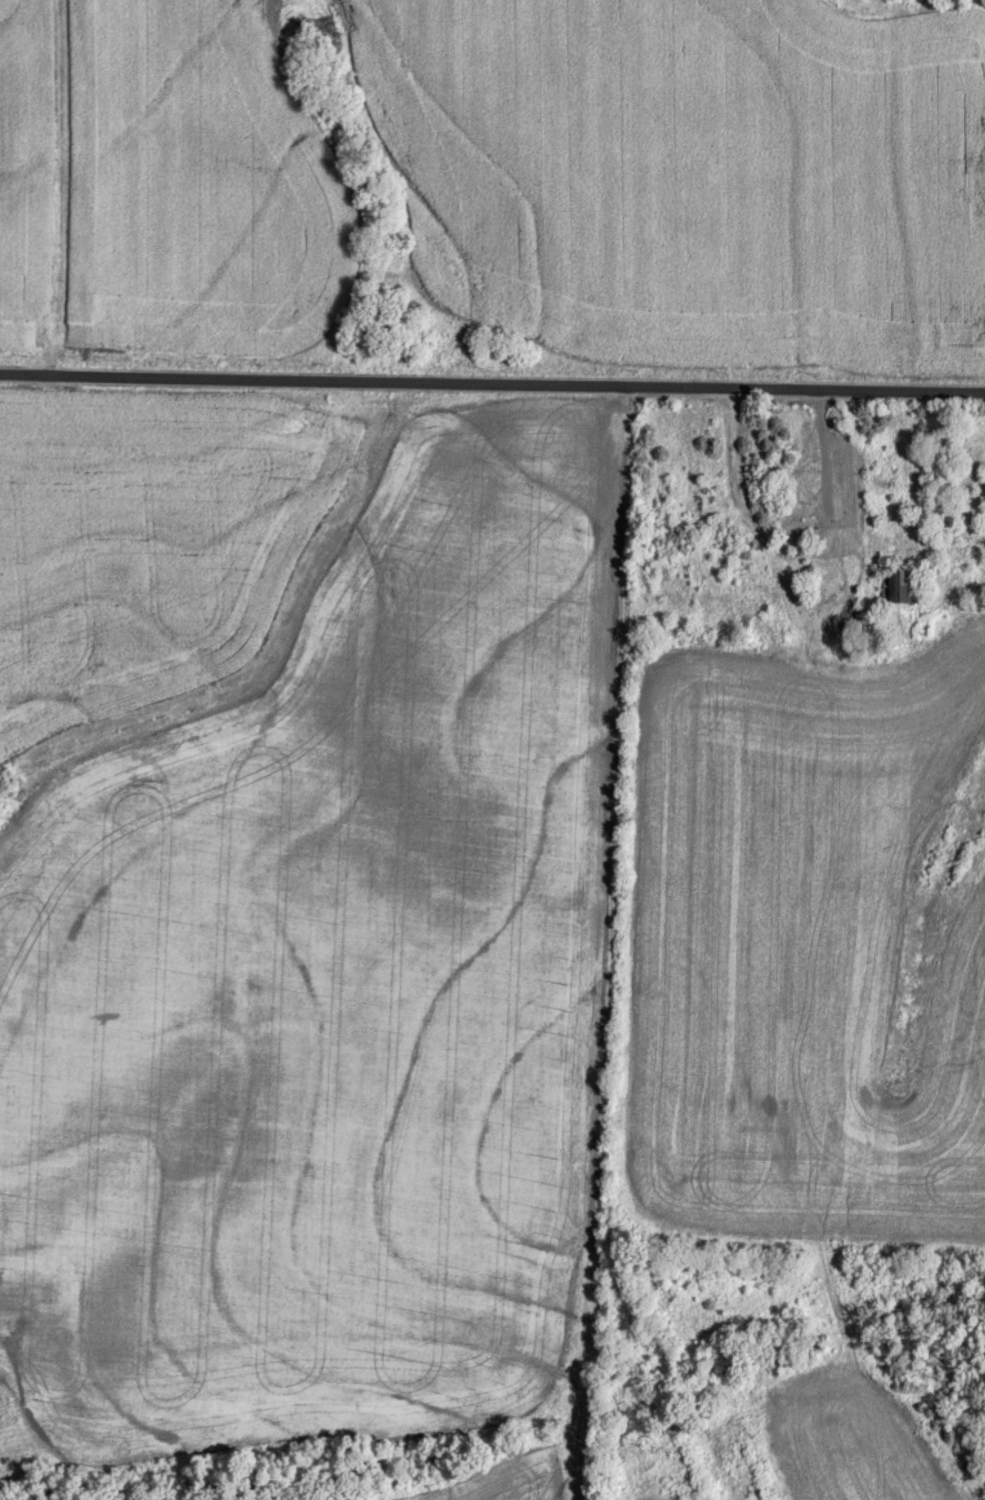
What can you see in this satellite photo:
road: (492, 382)
road: (831, 511)
building: (900, 584)

